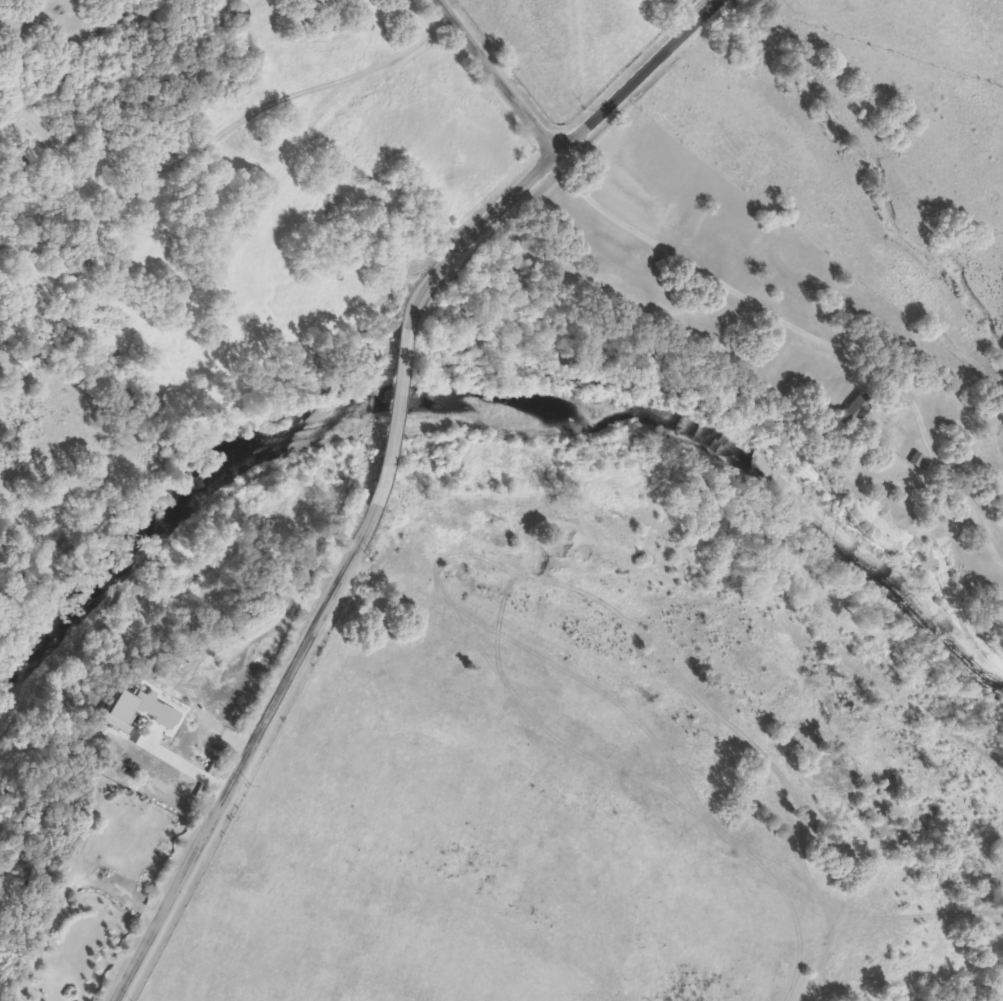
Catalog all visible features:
road: (362, 72)
road: (496, 77)
road: (809, 337)
building: (842, 416)
building: (915, 461)
road: (387, 470)
building: (149, 709)
road: (209, 722)

